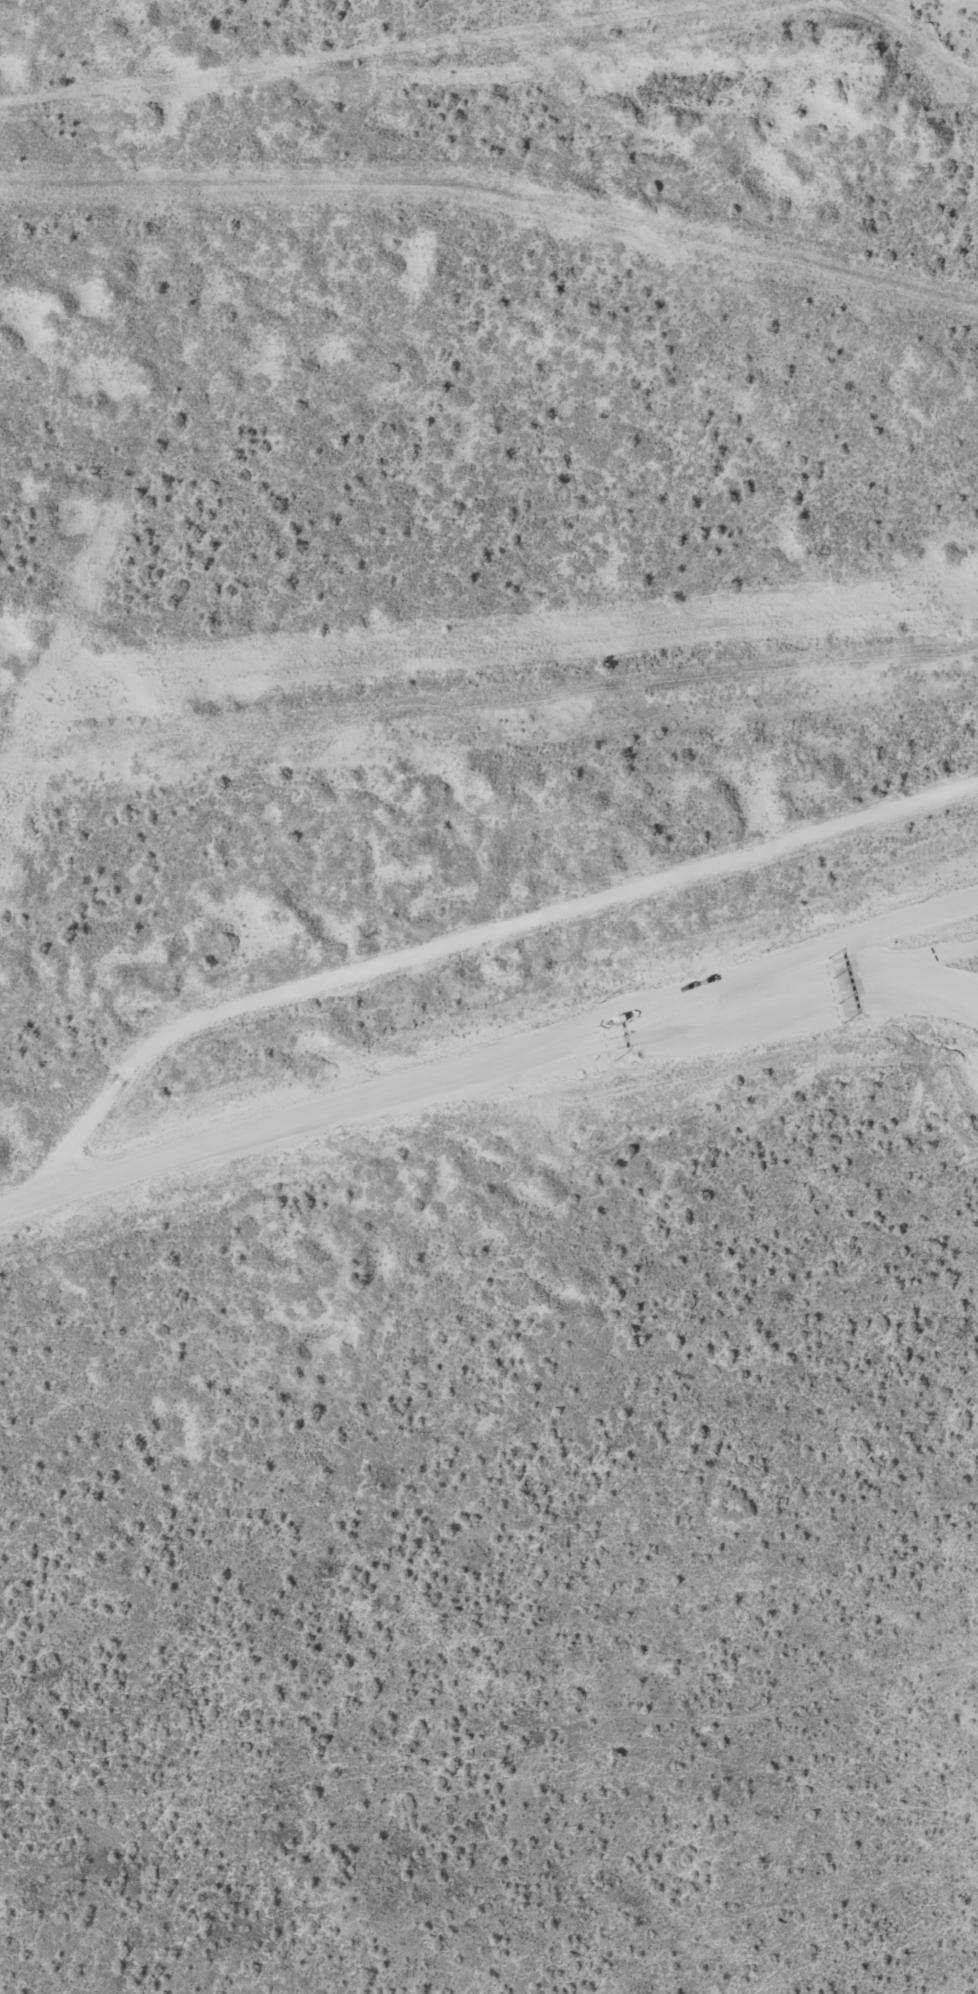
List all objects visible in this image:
quarry: (956, 938)
road: (464, 965)

